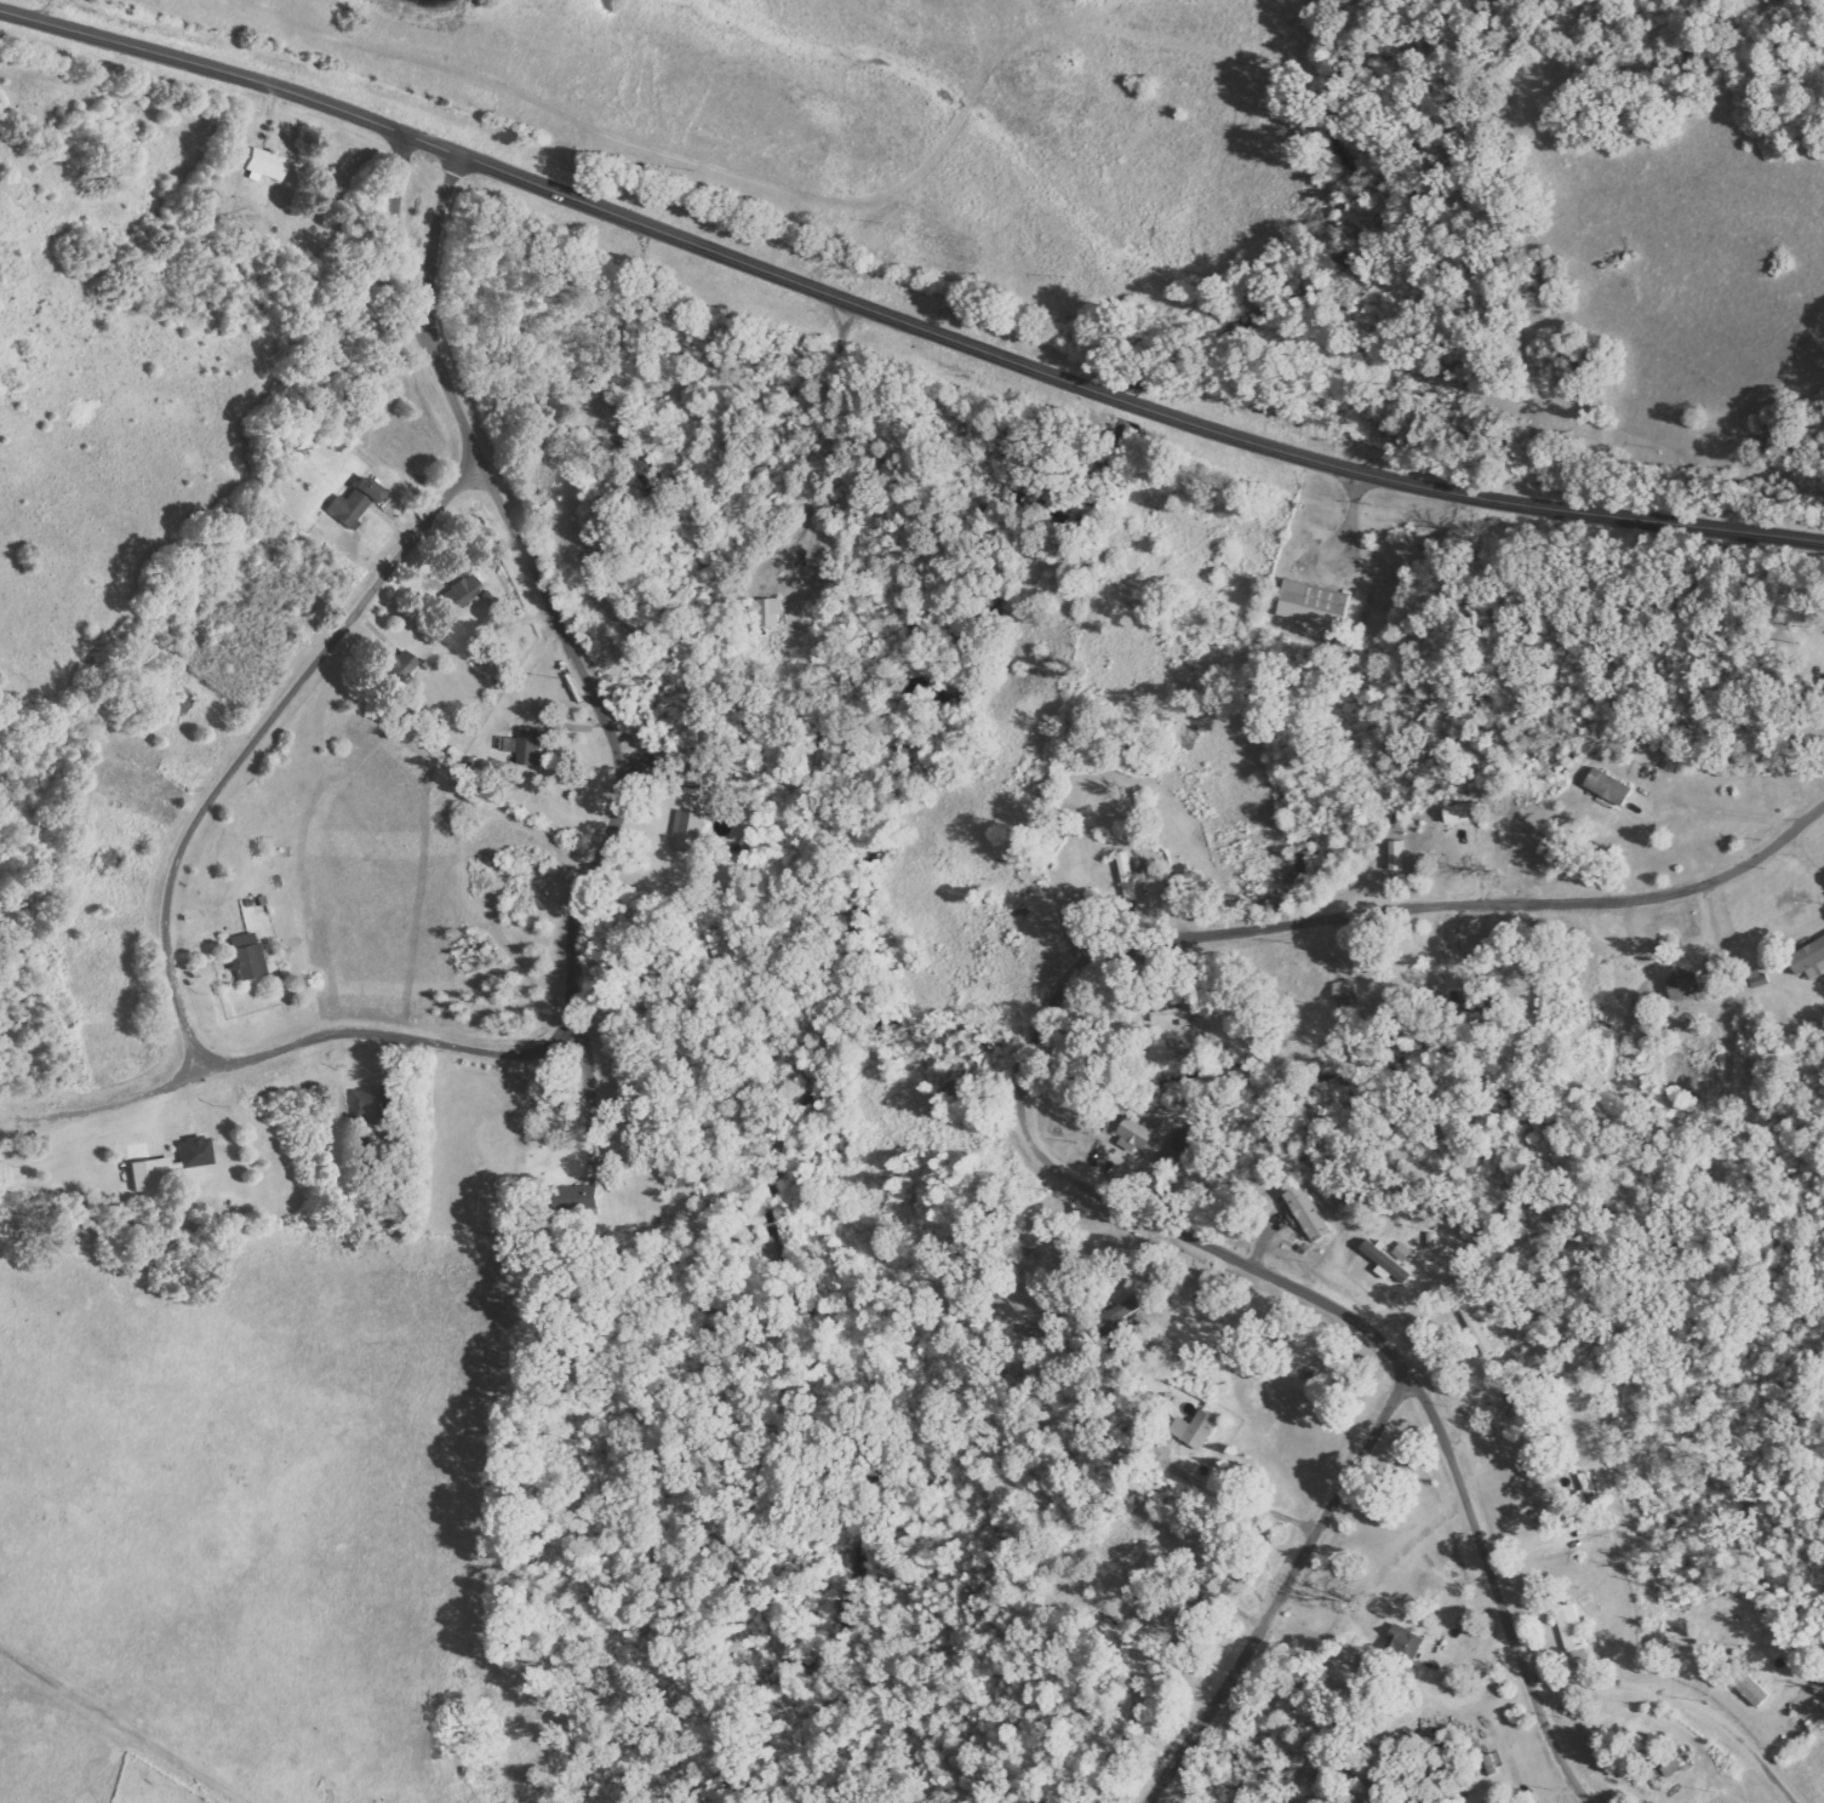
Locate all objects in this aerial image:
building: (267, 164)
road: (899, 321)
building: (356, 502)
building: (463, 594)
building: (1315, 605)
building: (768, 614)
building: (402, 666)
building: (526, 746)
building: (1609, 788)
building: (1465, 813)
building: (690, 831)
building: (1397, 857)
building: (1128, 877)
building: (1184, 877)
road: (1132, 949)
building: (247, 956)
building: (1811, 960)
building: (1687, 986)
building: (1346, 992)
building: (1172, 1015)
building: (377, 1101)
building: (1136, 1134)
building: (196, 1151)
building: (150, 1172)
building: (1310, 1214)
building: (1403, 1253)
building: (1389, 1264)
building: (1197, 1430)
building: (1137, 1438)
road: (1477, 1539)
road: (1279, 1593)
building: (1573, 1633)
building: (1407, 1641)
building: (1755, 1690)
road: (1681, 1704)
road: (1553, 1752)

